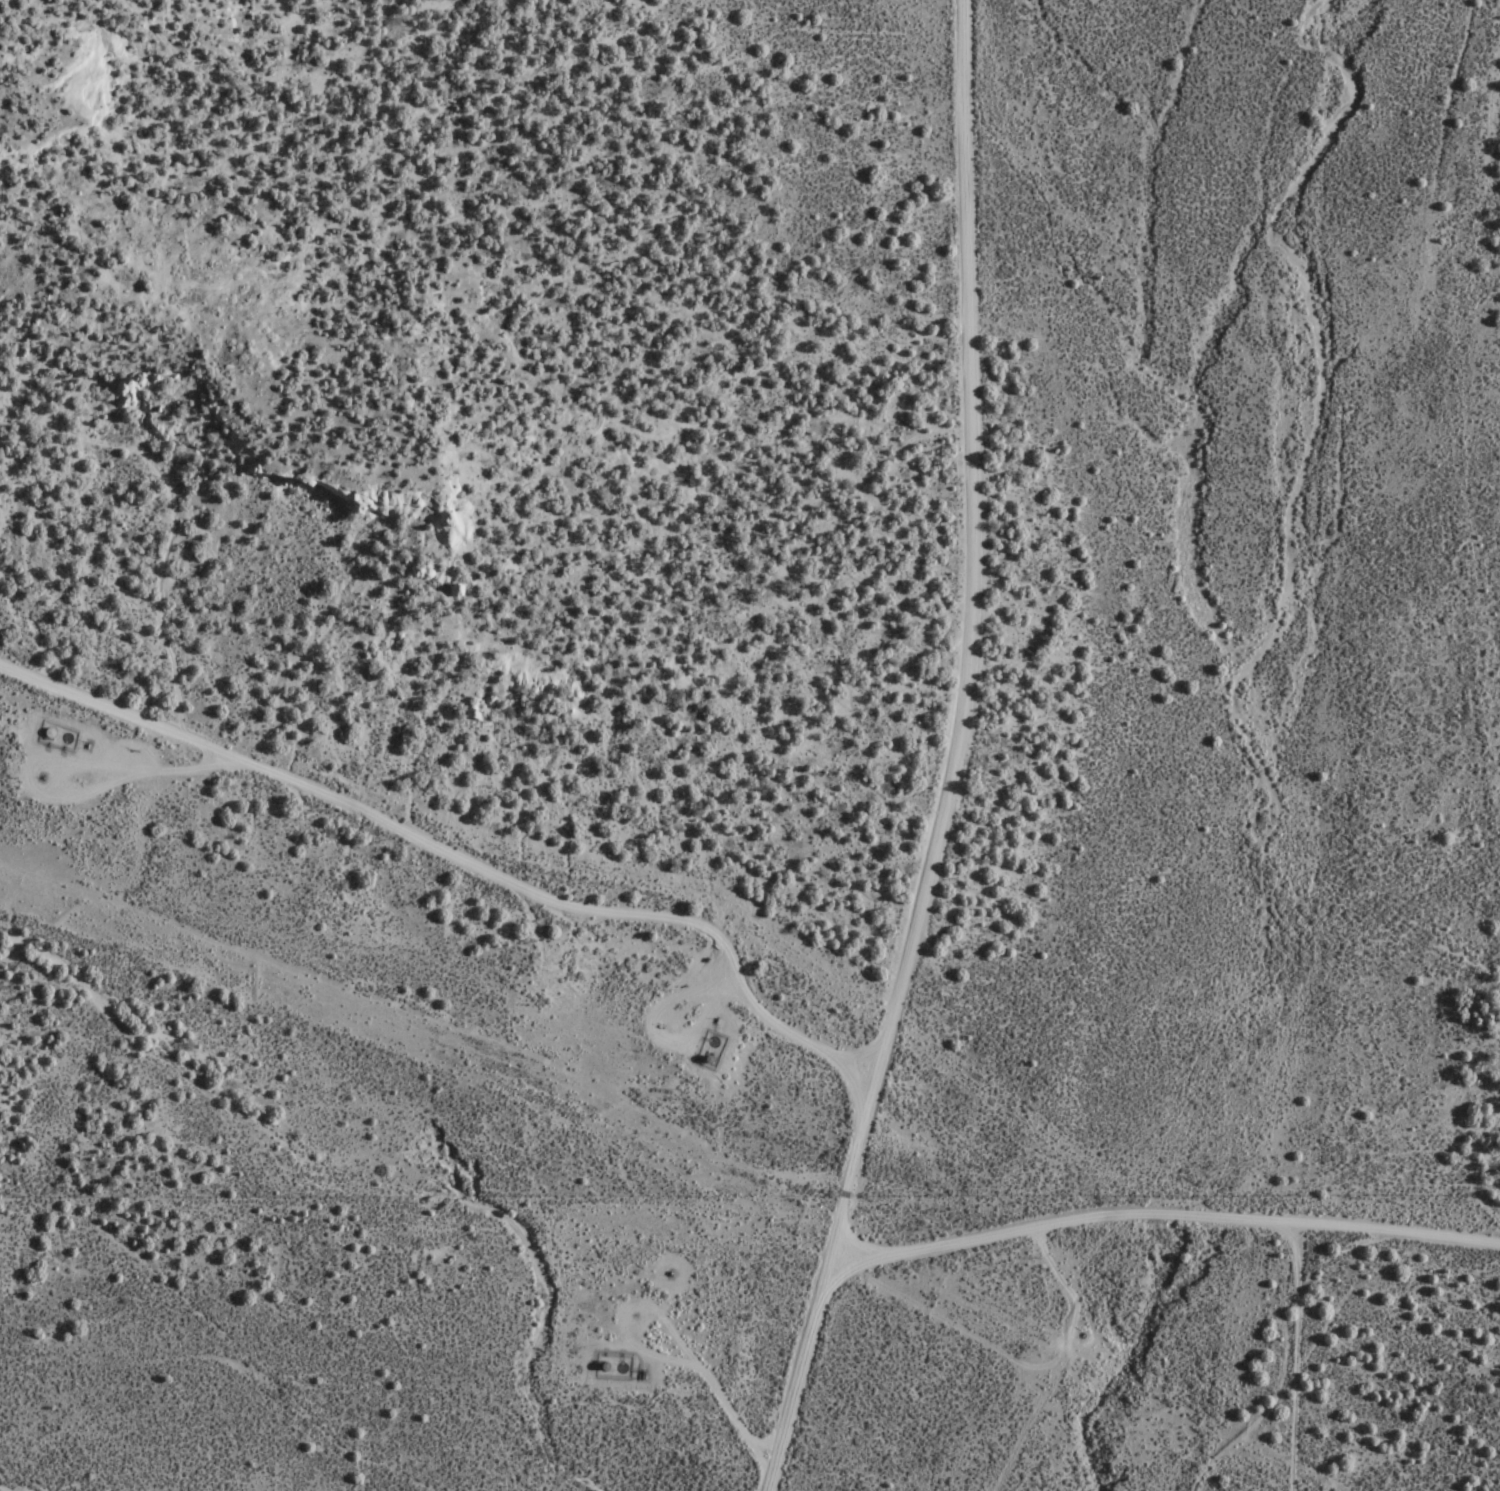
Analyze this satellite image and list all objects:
river: (1310, 372)
road: (1404, 535)
road: (889, 764)
road: (393, 869)
river: (1207, 1148)
road: (1114, 1189)

